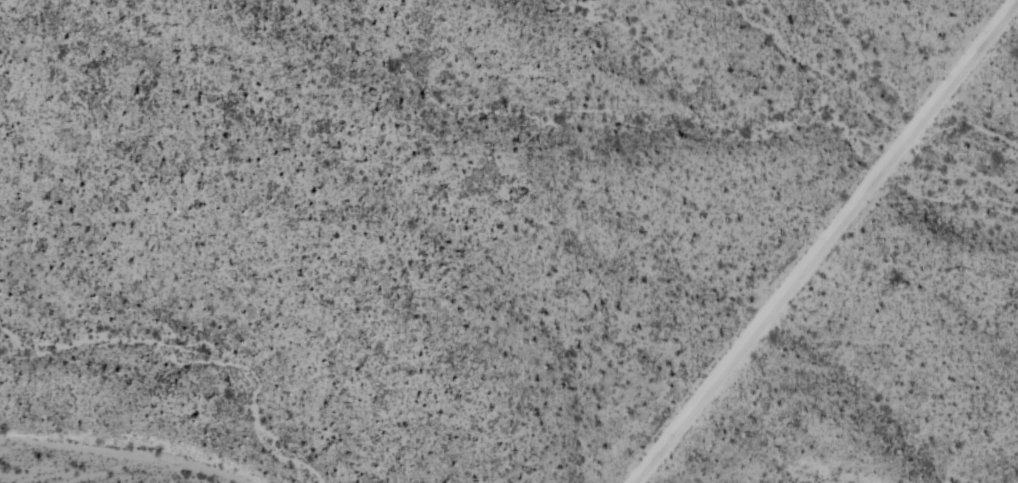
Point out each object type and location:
road: (827, 243)

